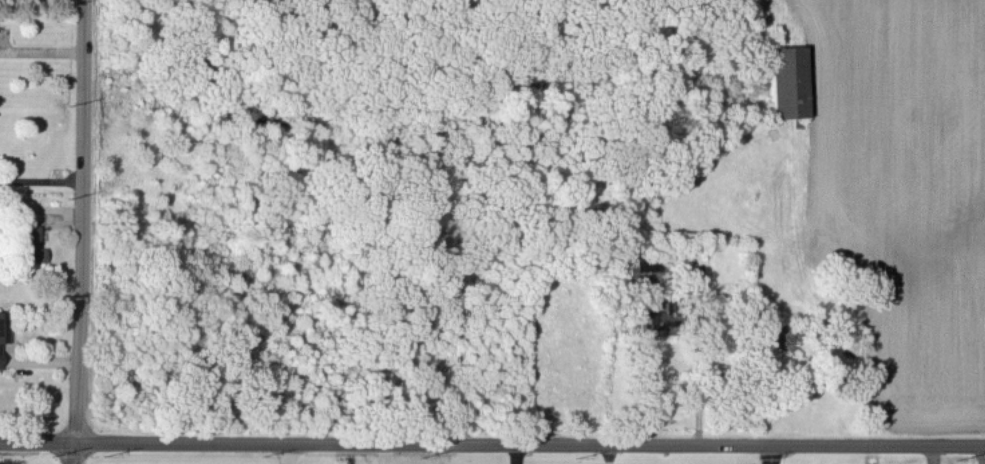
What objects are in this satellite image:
building: (786, 81)
road: (40, 179)
road: (79, 222)
building: (29, 244)
building: (640, 270)
building: (654, 317)
building: (2, 326)
road: (492, 445)
road: (71, 454)
road: (285, 454)

